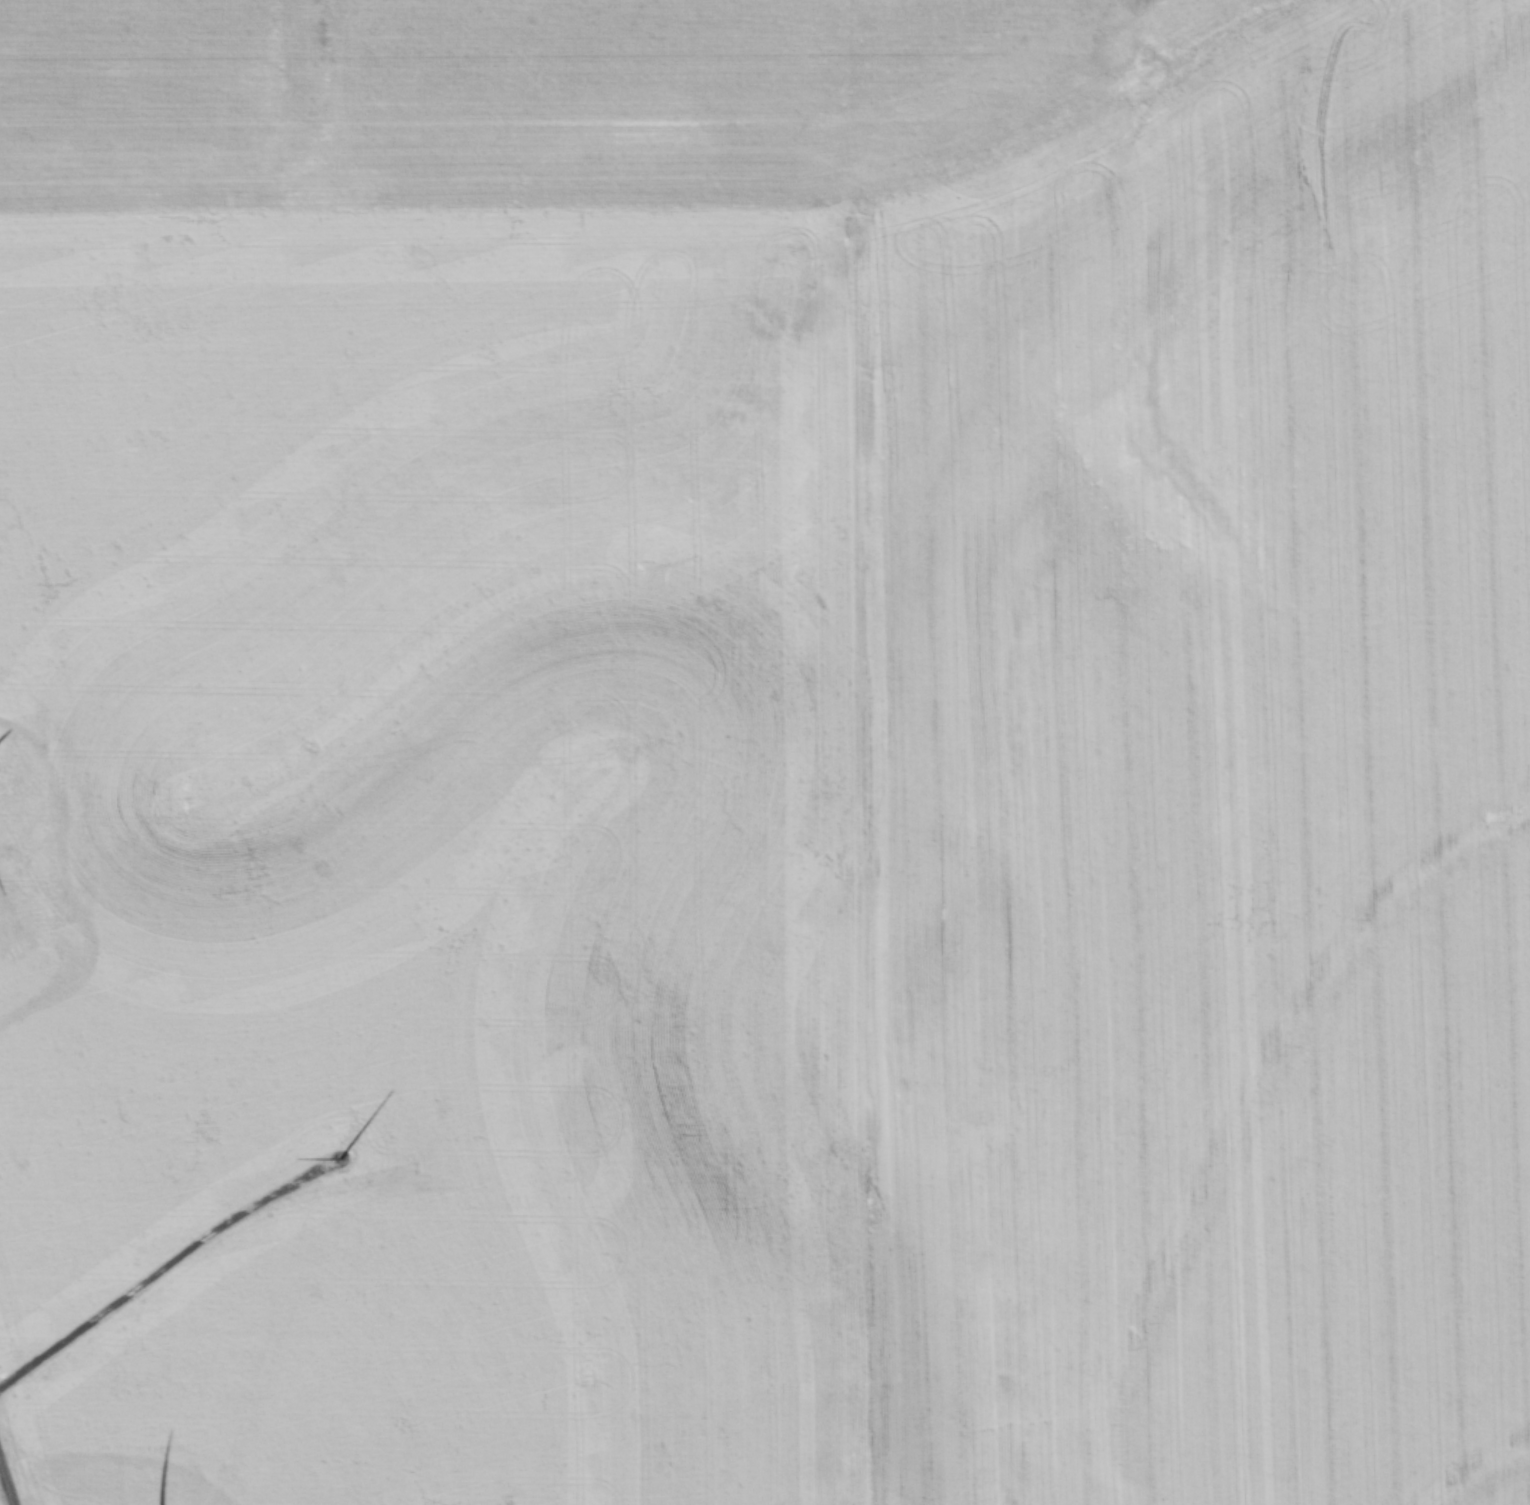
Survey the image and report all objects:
road: (9, 1476)

